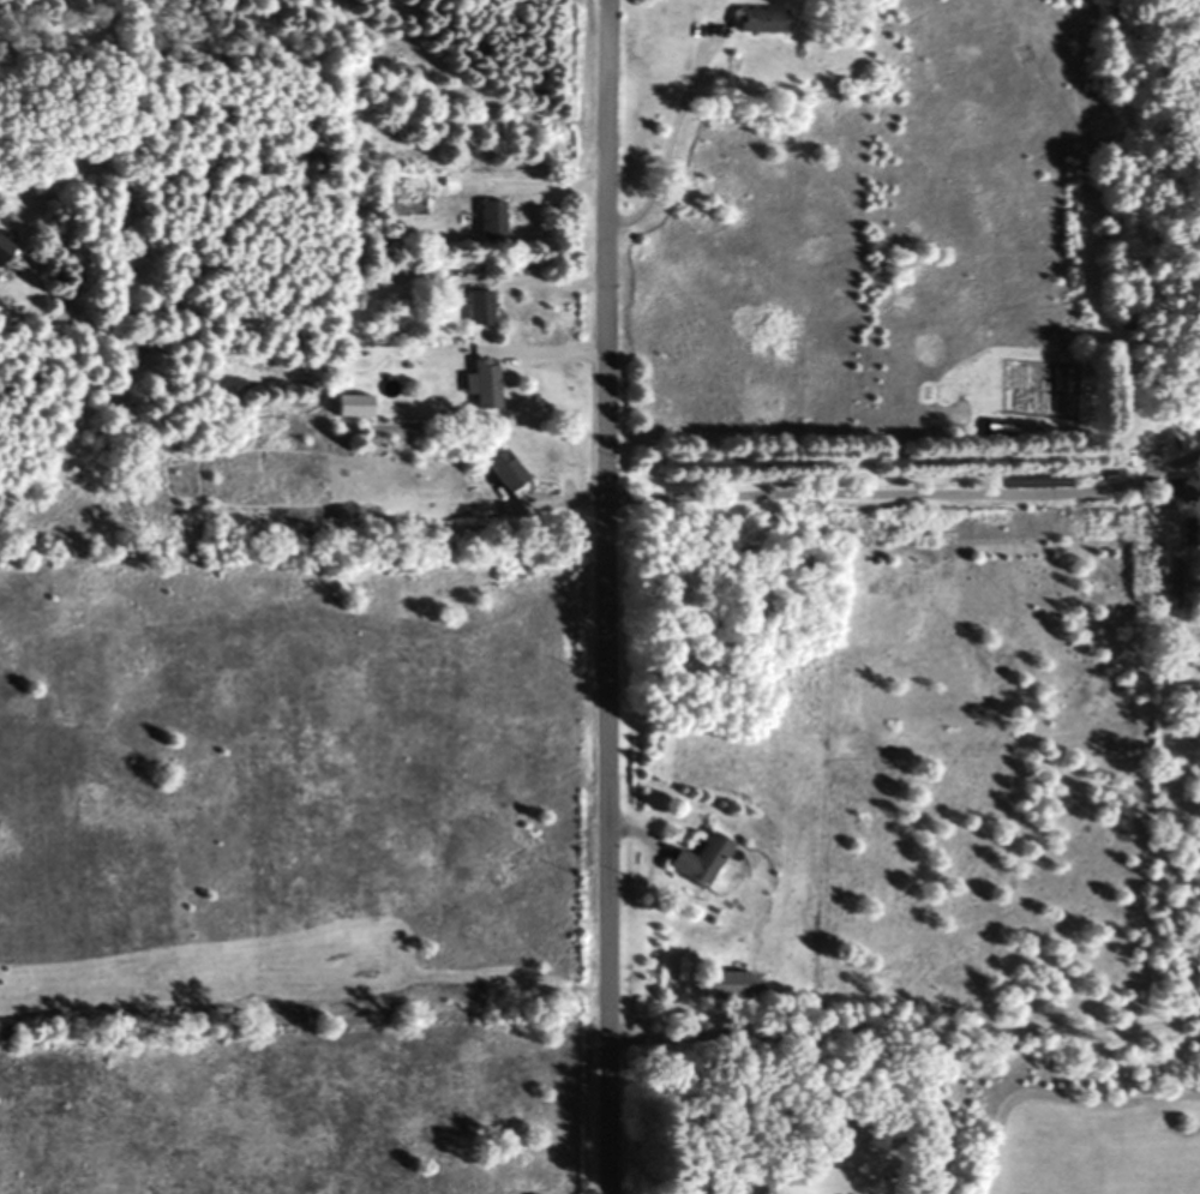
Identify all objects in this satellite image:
building: (752, 22)
road: (664, 133)
building: (487, 220)
building: (4, 251)
road: (533, 280)
building: (473, 307)
building: (478, 384)
building: (497, 470)
building: (1187, 487)
road: (904, 491)
road: (602, 596)
building: (695, 859)
building: (719, 984)
road: (904, 1027)
building: (769, 1180)

